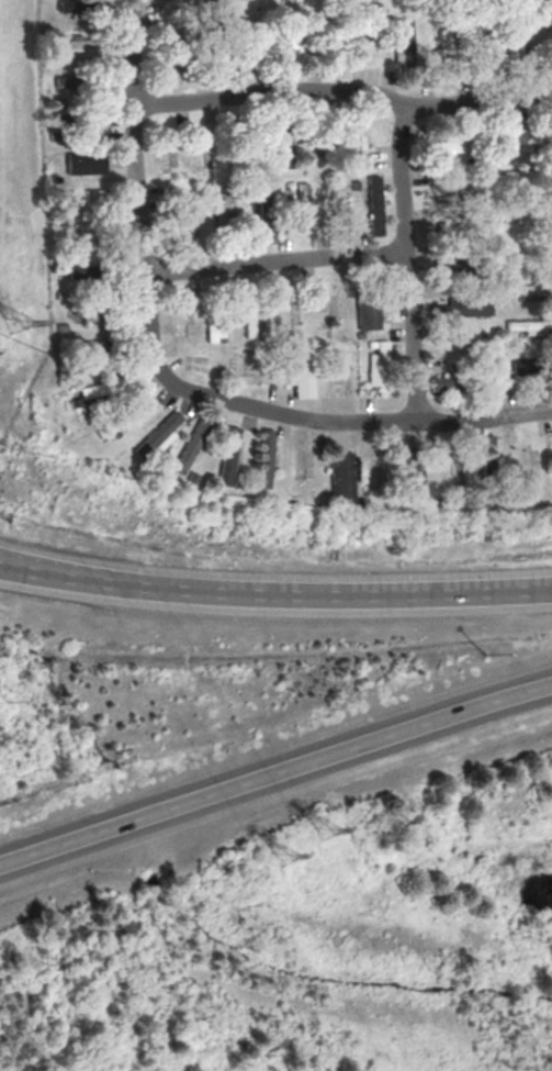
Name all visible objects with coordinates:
building: (404, 43)
building: (81, 45)
building: (294, 45)
building: (446, 46)
building: (66, 81)
road: (345, 91)
building: (515, 132)
building: (353, 142)
building: (451, 148)
building: (281, 150)
building: (86, 161)
road: (137, 190)
building: (82, 196)
building: (374, 204)
building: (303, 205)
building: (224, 208)
building: (187, 217)
road: (277, 260)
road: (405, 264)
building: (80, 272)
building: (528, 289)
building: (466, 306)
building: (92, 313)
building: (368, 313)
building: (251, 317)
power tower: (11, 326)
building: (530, 326)
building: (98, 348)
building: (380, 366)
building: (521, 367)
building: (302, 371)
building: (444, 382)
road: (354, 422)
building: (158, 436)
building: (192, 445)
building: (228, 455)
building: (266, 458)
building: (416, 470)
building: (342, 475)
road: (59, 565)
road: (59, 570)
road: (335, 593)
road: (275, 773)
power tower: (329, 830)
power tower: (286, 852)

